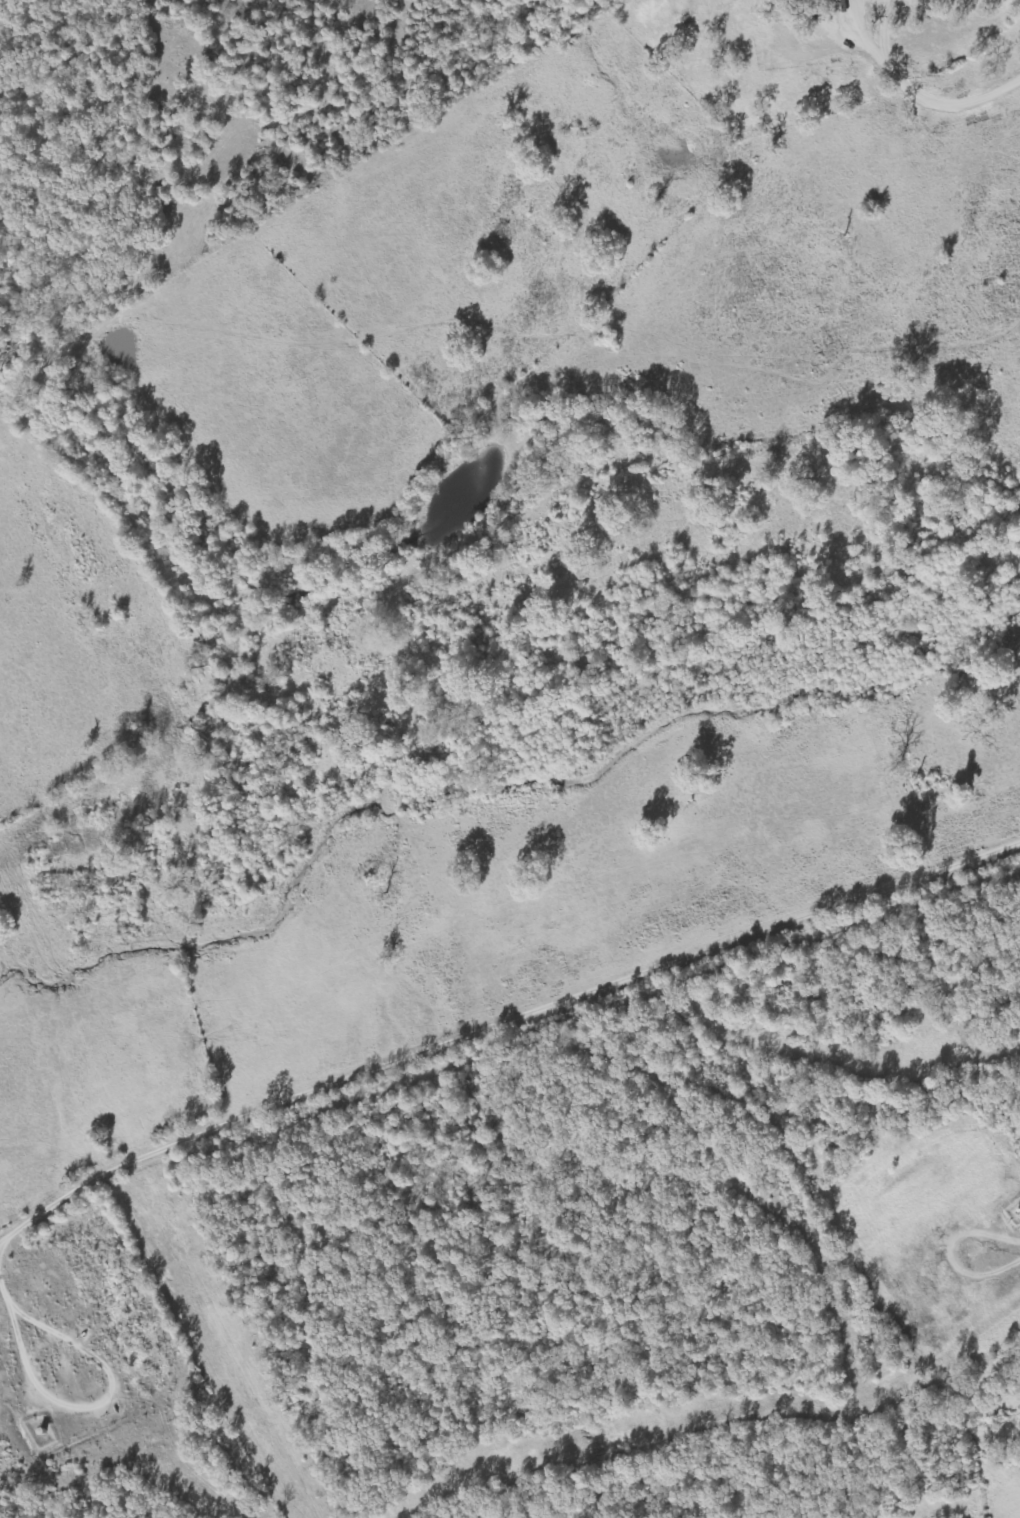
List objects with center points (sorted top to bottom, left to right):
road: (502, 1088)

